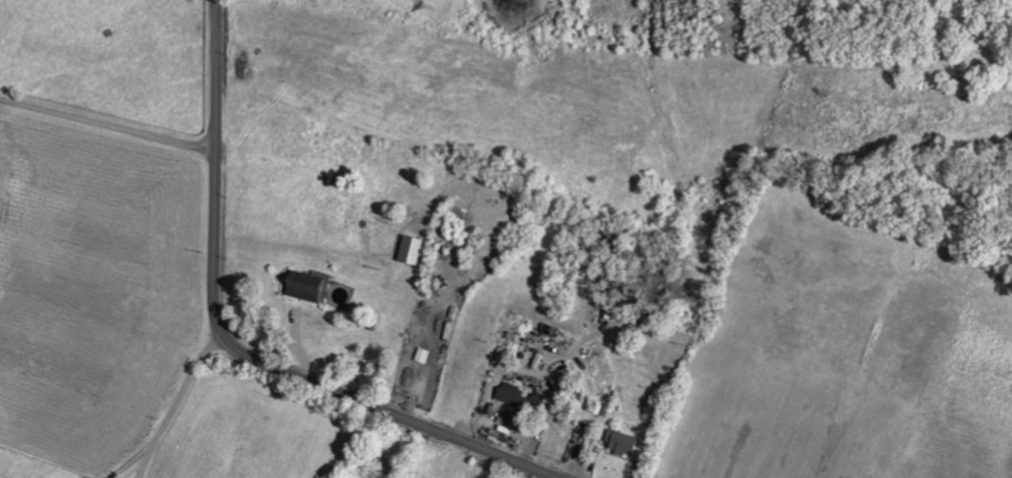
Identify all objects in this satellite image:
road: (108, 105)
building: (410, 251)
building: (302, 287)
road: (235, 345)
building: (519, 398)
road: (173, 410)
building: (621, 444)
road: (147, 459)

